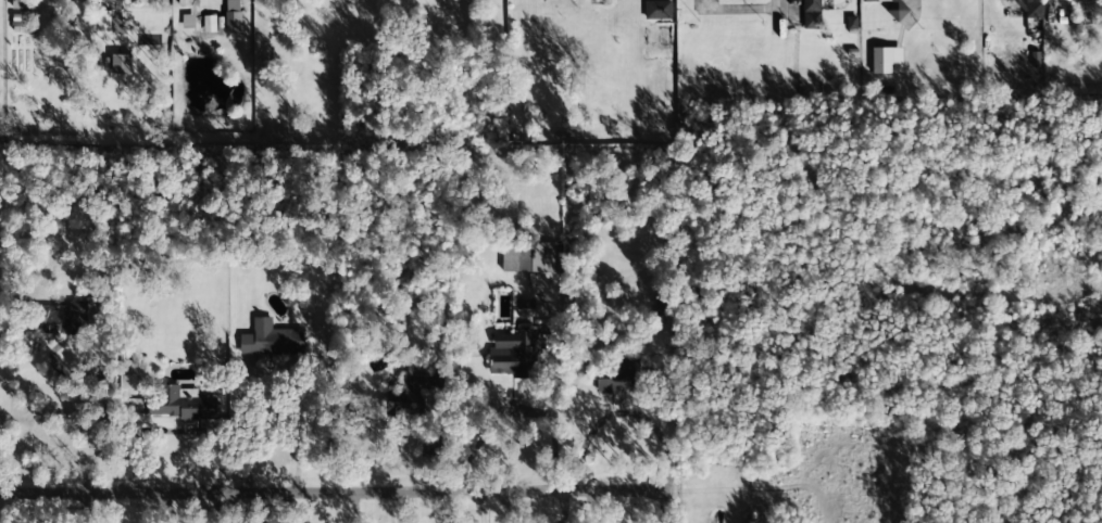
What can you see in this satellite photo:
building: (23, 4)
building: (897, 9)
building: (658, 10)
building: (1032, 10)
building: (813, 14)
building: (233, 15)
road: (779, 17)
building: (103, 20)
building: (210, 24)
building: (887, 60)
building: (122, 64)
building: (528, 257)
building: (524, 304)
building: (60, 319)
building: (272, 339)
building: (515, 356)
building: (616, 378)
building: (409, 396)
building: (176, 404)
building: (140, 407)
road: (336, 493)
road: (89, 508)
road: (167, 508)

